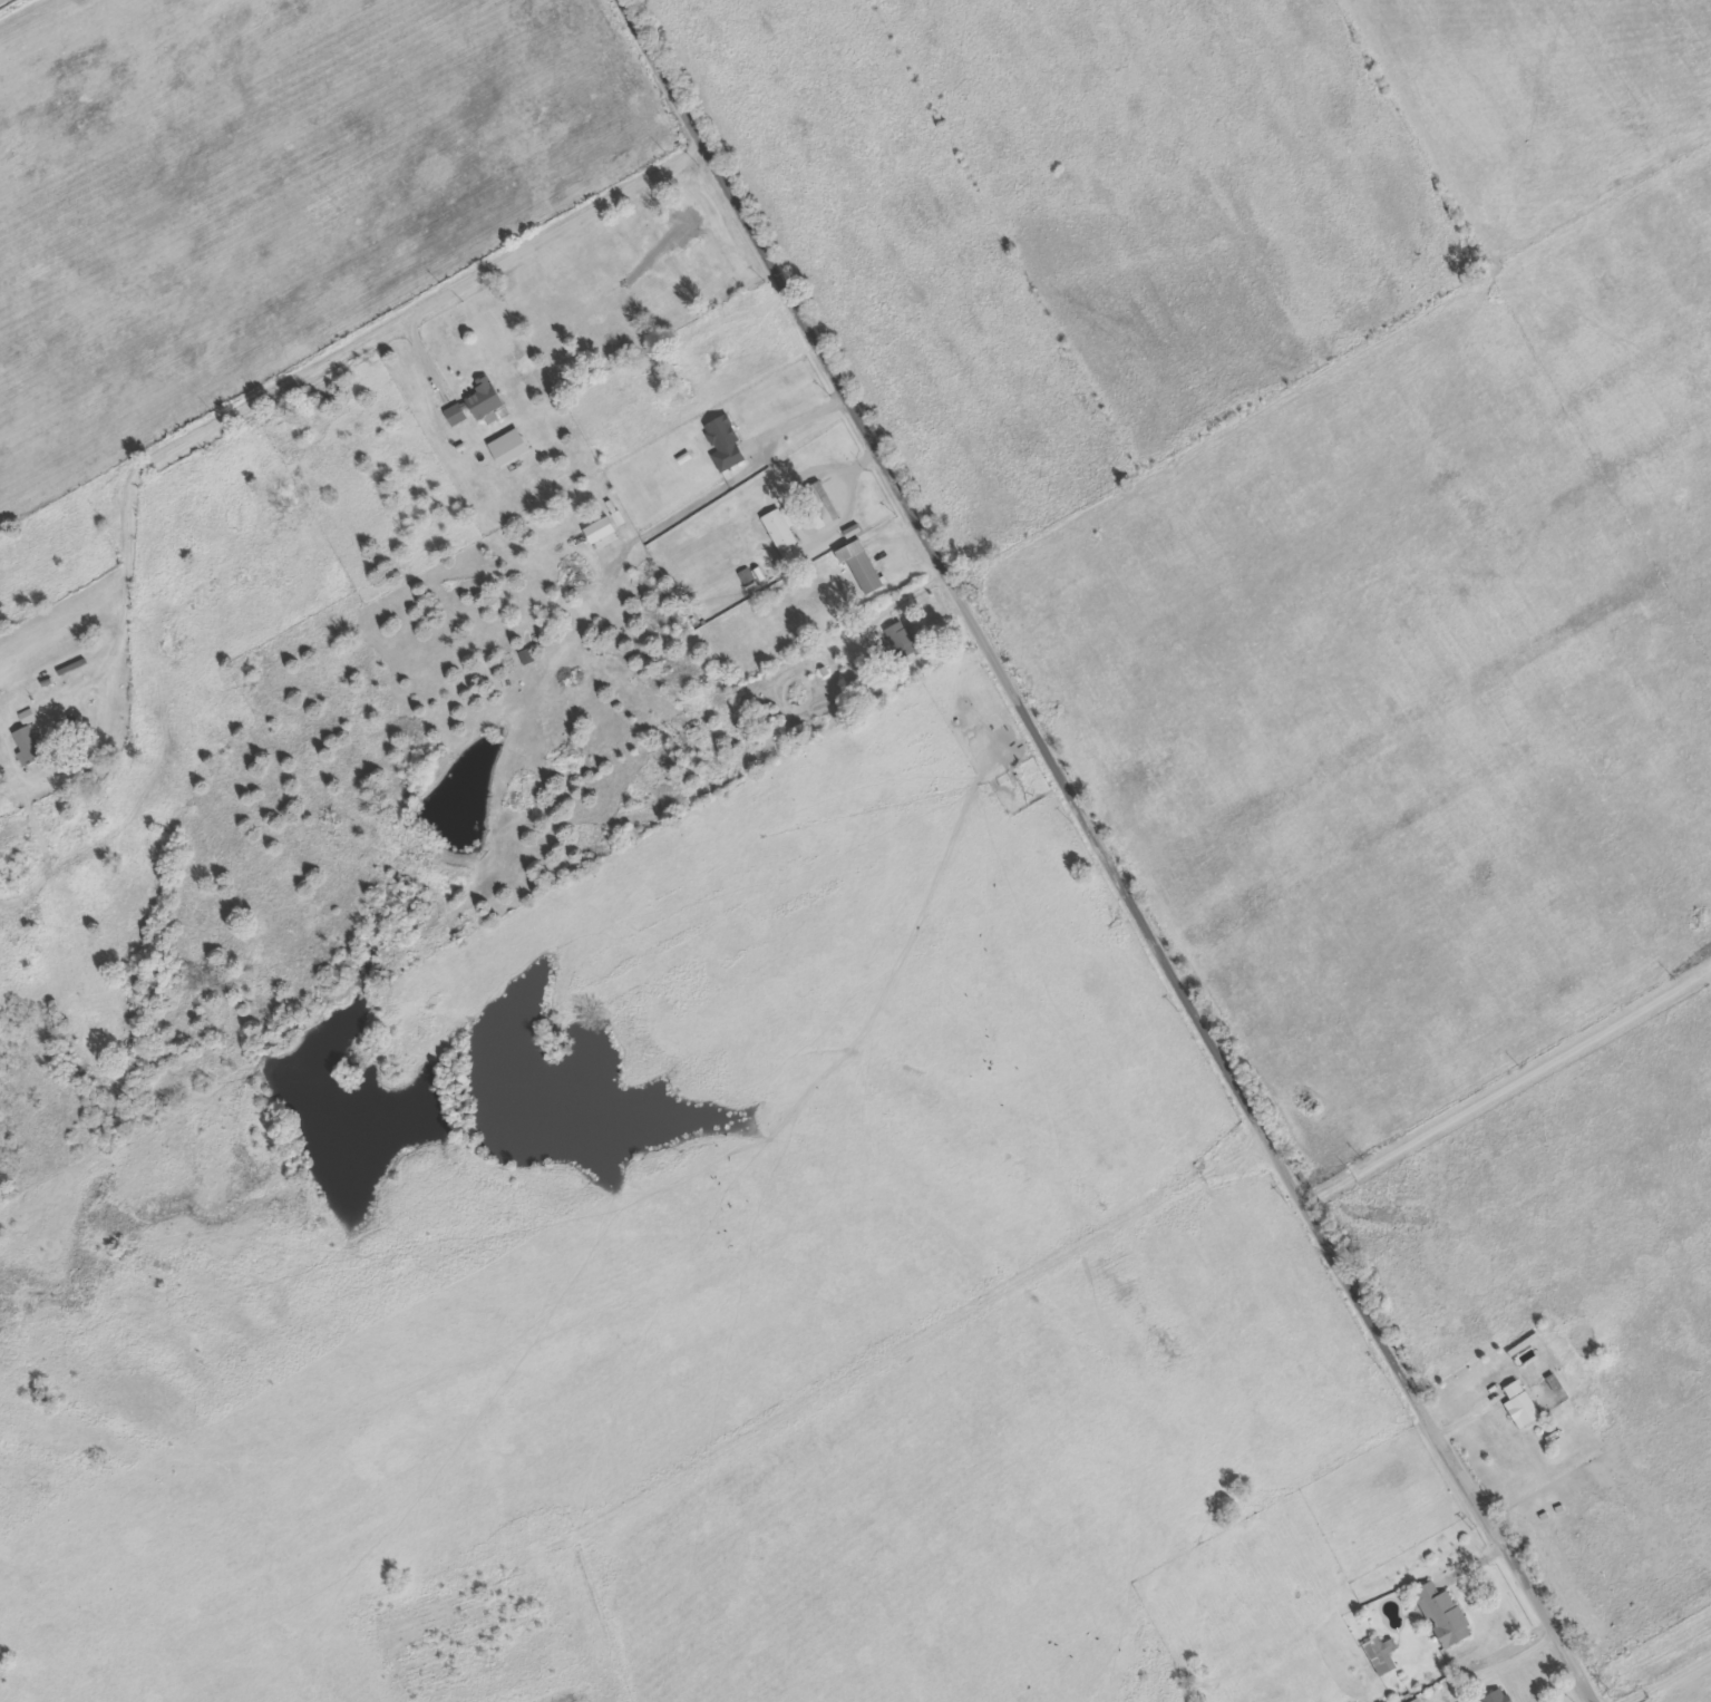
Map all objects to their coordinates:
building: (692, 225)
road: (307, 364)
building: (677, 380)
building: (478, 406)
building: (727, 445)
building: (511, 448)
building: (824, 502)
building: (780, 531)
building: (603, 534)
building: (864, 566)
building: (901, 638)
building: (29, 717)
building: (31, 745)
road: (1106, 853)
building: (1519, 1406)
building: (1442, 1614)
building: (1381, 1655)
road: (1661, 1675)
building: (1496, 1696)
building: (1416, 1700)

